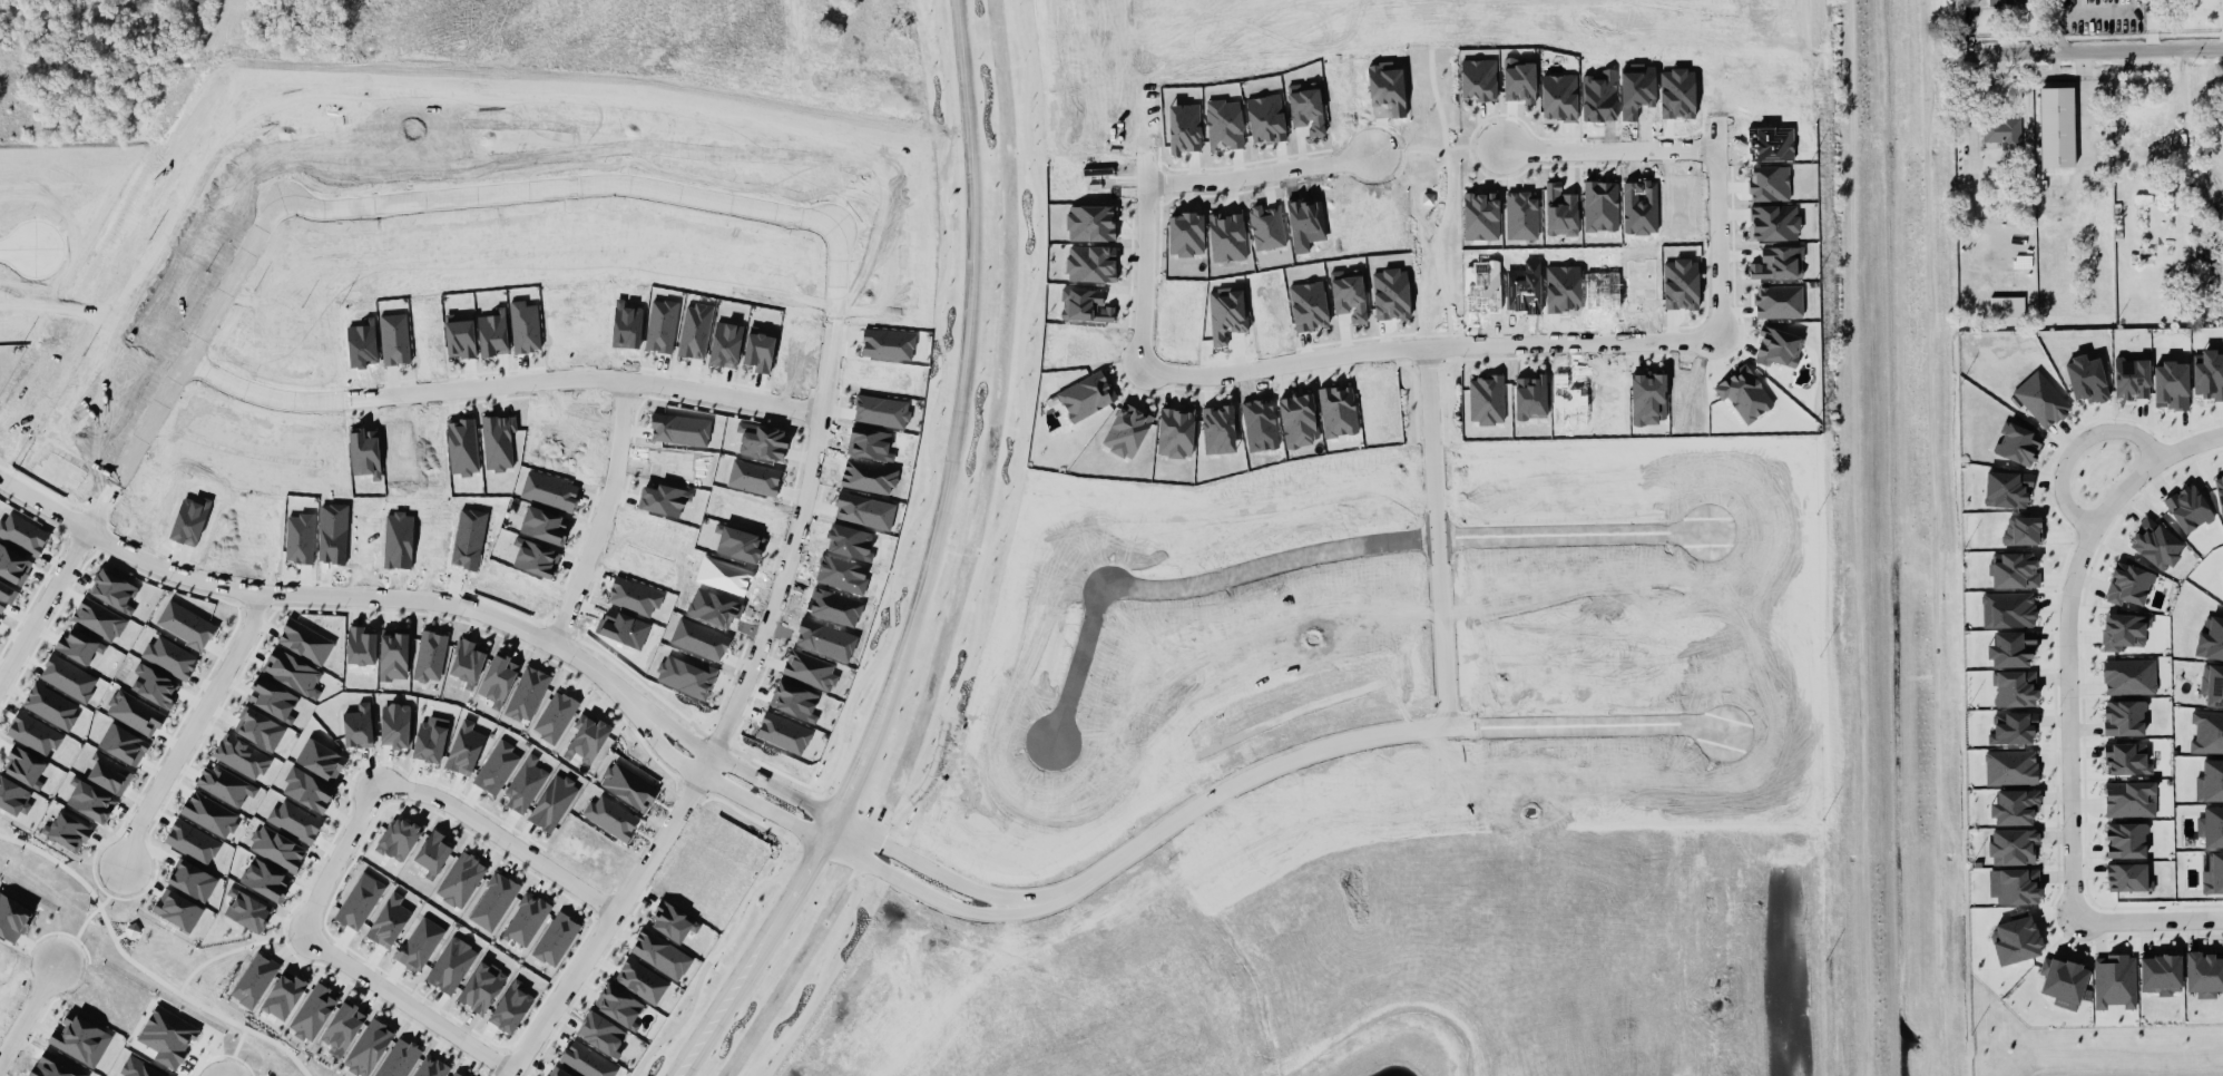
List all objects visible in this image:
building: (1965, 4)
building: (2008, 4)
road: (2097, 53)
building: (1308, 109)
road: (1974, 113)
building: (1265, 119)
building: (2055, 130)
building: (2002, 134)
road: (1610, 151)
road: (1262, 174)
road: (423, 205)
building: (1226, 238)
road: (18, 256)
building: (1350, 296)
building: (2007, 309)
road: (1427, 346)
building: (2209, 375)
building: (2132, 378)
building: (2087, 381)
road: (540, 387)
building: (2172, 387)
building: (2041, 401)
road: (764, 407)
building: (2019, 444)
road: (2075, 447)
road: (2176, 453)
building: (2008, 491)
building: (2220, 492)
road: (45, 507)
building: (2190, 510)
building: (22, 535)
road: (1438, 537)
building: (2157, 546)
road: (1322, 552)
building: (13, 566)
road: (928, 567)
building: (2016, 571)
building: (2129, 586)
building: (112, 591)
road: (783, 591)
road: (370, 600)
road: (45, 607)
building: (2009, 612)
building: (0, 619)
building: (98, 619)
building: (185, 626)
building: (2124, 633)
building: (2211, 639)
building: (305, 642)
building: (78, 647)
building: (361, 647)
building: (2013, 651)
building: (393, 655)
building: (430, 657)
building: (169, 658)
building: (467, 662)
building: (291, 673)
building: (2131, 678)
building: (68, 679)
building: (498, 682)
building: (154, 686)
building: (2212, 686)
building: (2015, 689)
road: (2069, 691)
building: (272, 700)
building: (50, 707)
building: (134, 714)
building: (556, 717)
building: (2125, 720)
building: (394, 726)
building: (358, 727)
building: (2014, 731)
road: (183, 732)
building: (2207, 734)
building: (33, 735)
building: (587, 740)
building: (429, 744)
road: (1352, 744)
building: (123, 746)
building: (466, 750)
building: (2129, 760)
building: (25, 769)
building: (497, 769)
road: (729, 770)
building: (2011, 770)
building: (2211, 783)
building: (525, 785)
building: (225, 786)
building: (628, 788)
road: (715, 791)
building: (13, 799)
building: (2131, 801)
building: (90, 803)
building: (552, 804)
building: (2016, 809)
building: (209, 815)
building: (610, 819)
building: (295, 822)
building: (2212, 829)
building: (67, 833)
building: (400, 839)
road: (499, 842)
building: (2127, 842)
building: (192, 844)
building: (2014, 848)
building: (277, 850)
building: (433, 852)
road: (337, 861)
road: (923, 867)
building: (2213, 876)
building: (2128, 879)
building: (265, 880)
building: (461, 881)
building: (2019, 888)
road: (914, 892)
building: (493, 902)
building: (359, 904)
building: (246, 911)
road: (610, 917)
building: (526, 921)
road: (2147, 921)
building: (389, 922)
building: (673, 925)
road: (1185, 932)
road: (1390, 933)
building: (420, 945)
road: (1162, 948)
building: (451, 967)
road: (1732, 970)
building: (2162, 976)
building: (2204, 976)
building: (642, 982)
building: (2115, 982)
building: (2064, 984)
building: (481, 988)
road: (408, 1007)
building: (619, 1007)
building: (511, 1009)
building: (313, 1014)
road: (29, 1016)
building: (343, 1027)
building: (600, 1035)
building: (369, 1048)
road: (1071, 1056)
building: (431, 1068)
building: (139, 1070)
building: (555, 1073)
building: (454, 1075)

